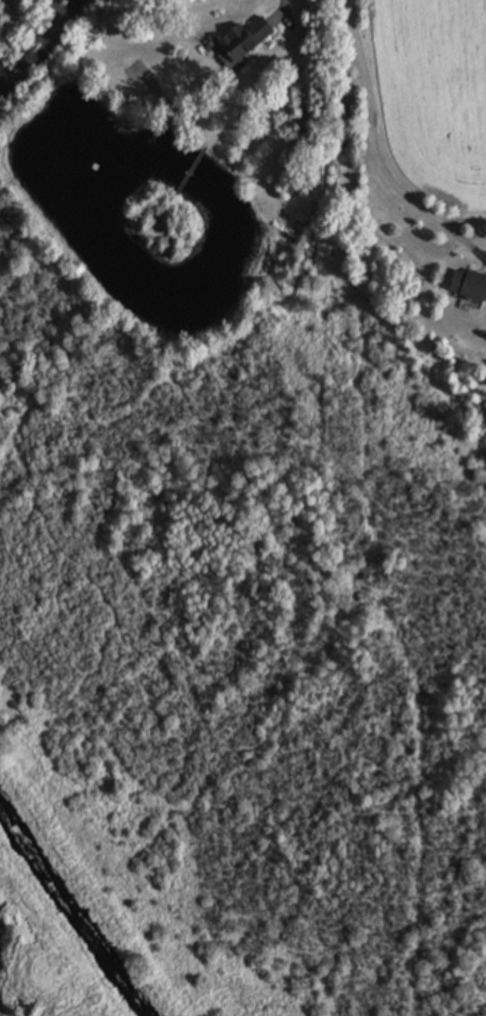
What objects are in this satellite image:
road: (286, 6)
building: (248, 39)
road: (373, 148)
building: (471, 286)
river: (71, 912)

